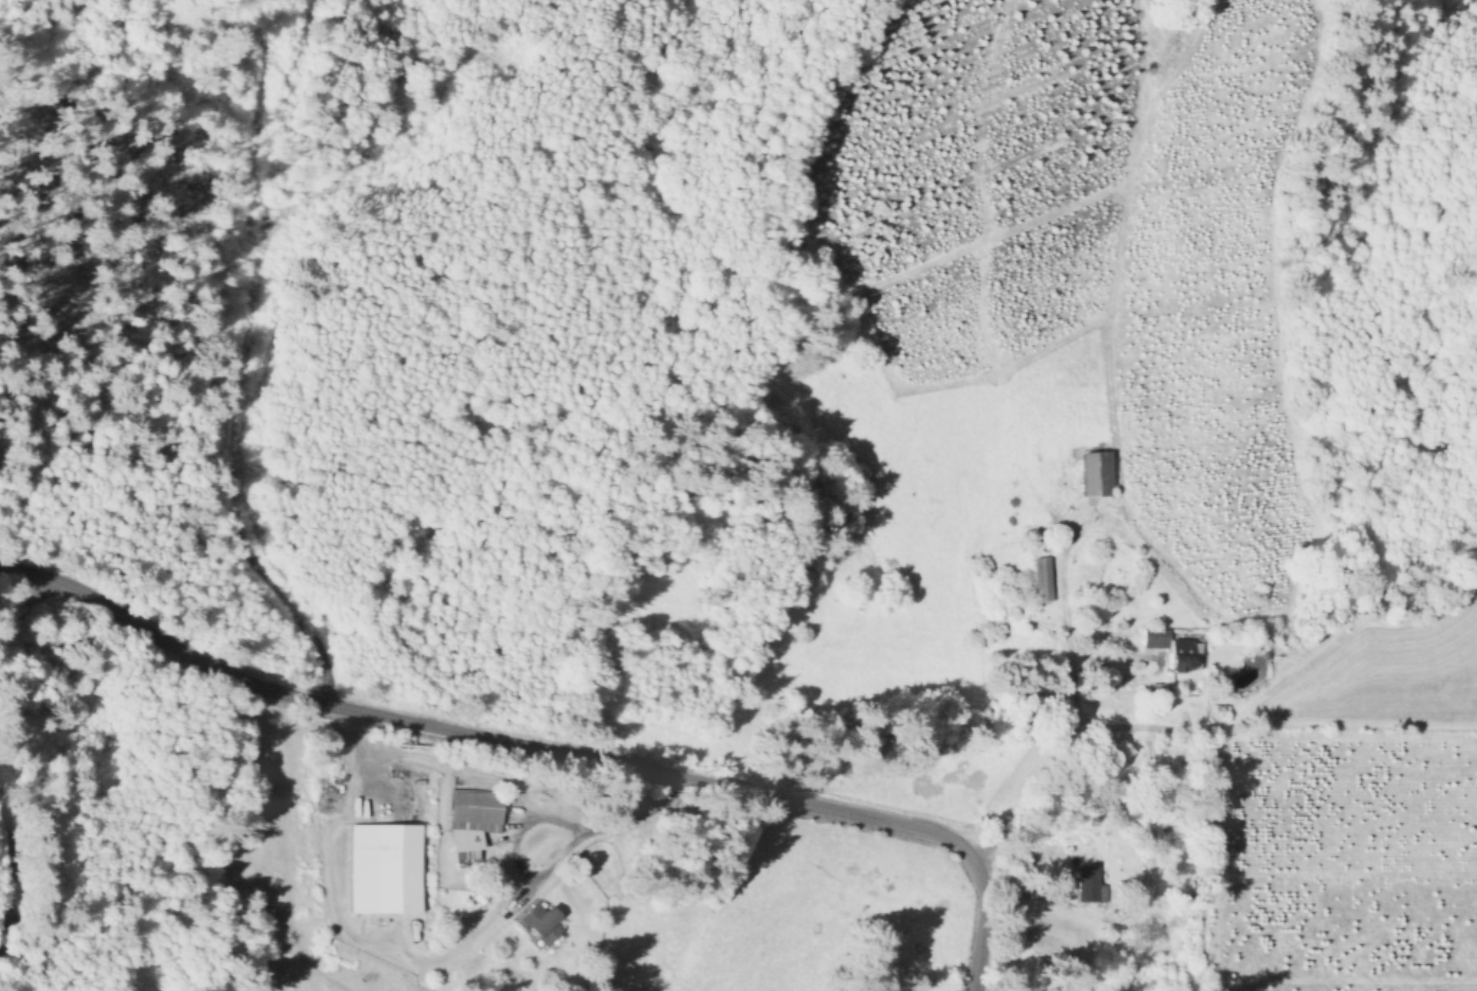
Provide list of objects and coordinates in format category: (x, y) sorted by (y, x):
road: (254, 338)
building: (1093, 474)
building: (1040, 580)
road: (23, 614)
road: (1328, 629)
building: (1151, 640)
building: (1178, 657)
road: (545, 747)
road: (1147, 757)
road: (476, 775)
building: (473, 811)
road: (599, 830)
road: (11, 857)
building: (382, 870)
building: (537, 925)

